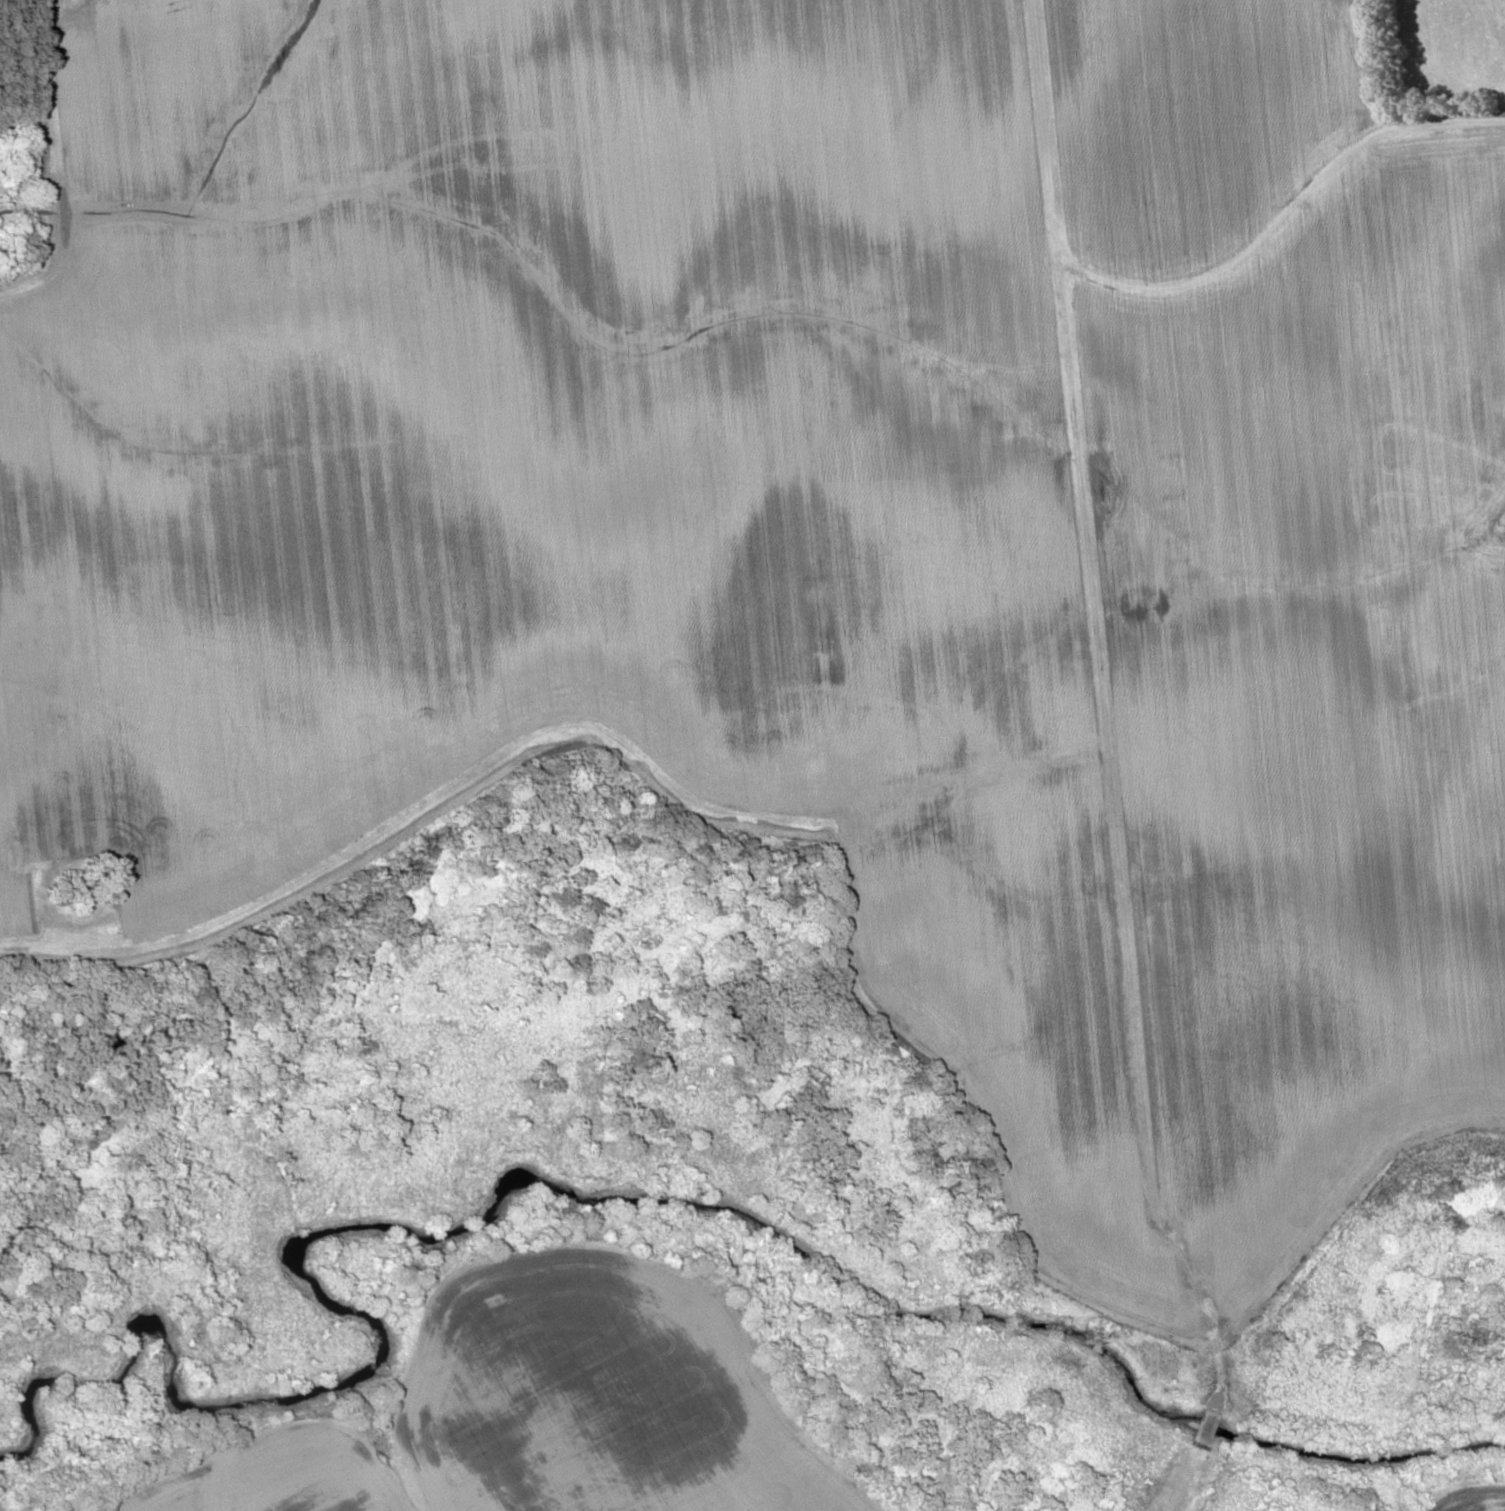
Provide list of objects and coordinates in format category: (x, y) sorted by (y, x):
building: (1205, 1427)

